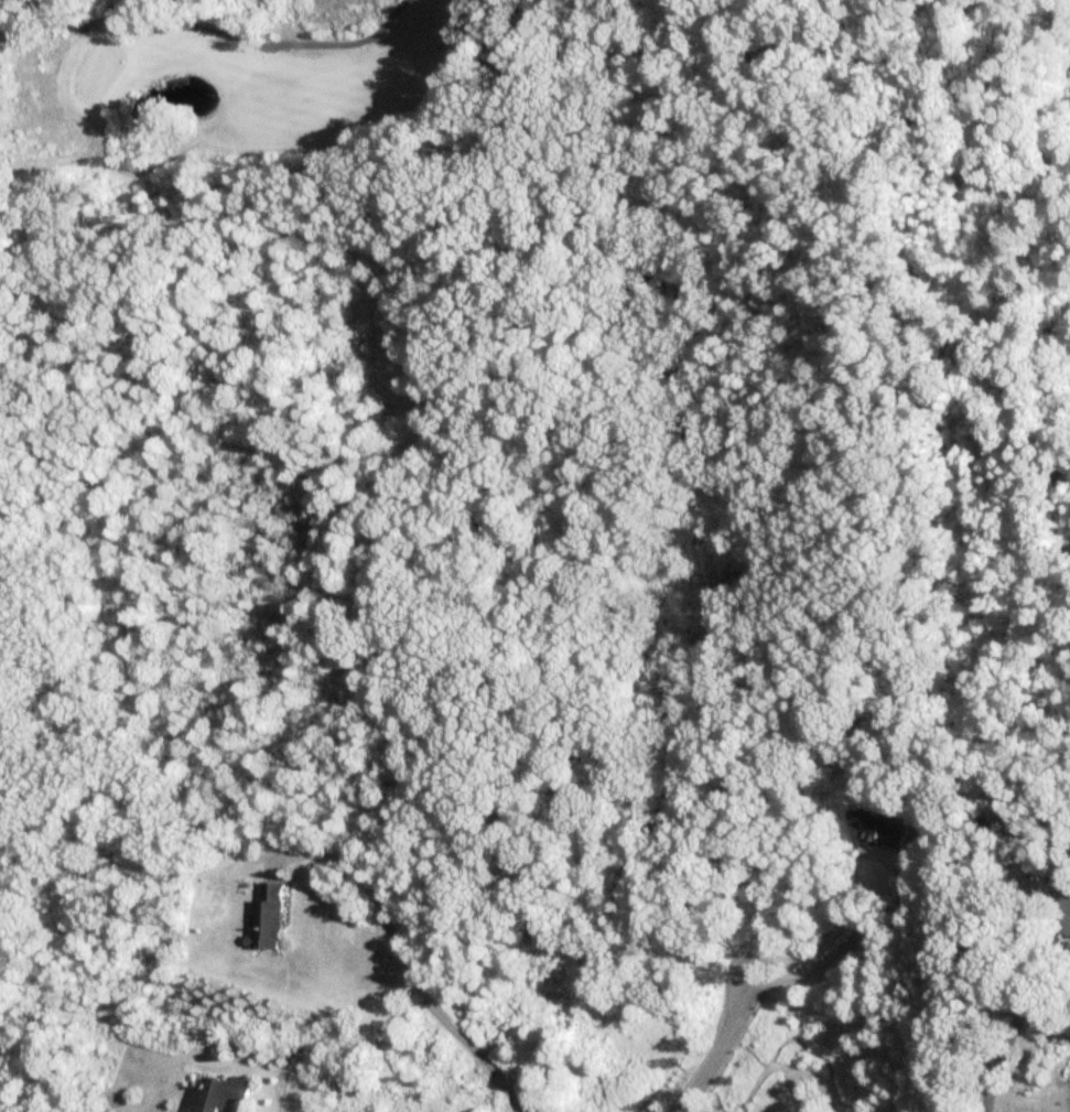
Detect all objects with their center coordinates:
park: (237, 141)
building: (1010, 829)
building: (886, 834)
building: (267, 917)
road: (841, 952)
road: (403, 972)
road: (1017, 1013)
road: (717, 1045)
building: (218, 1093)

